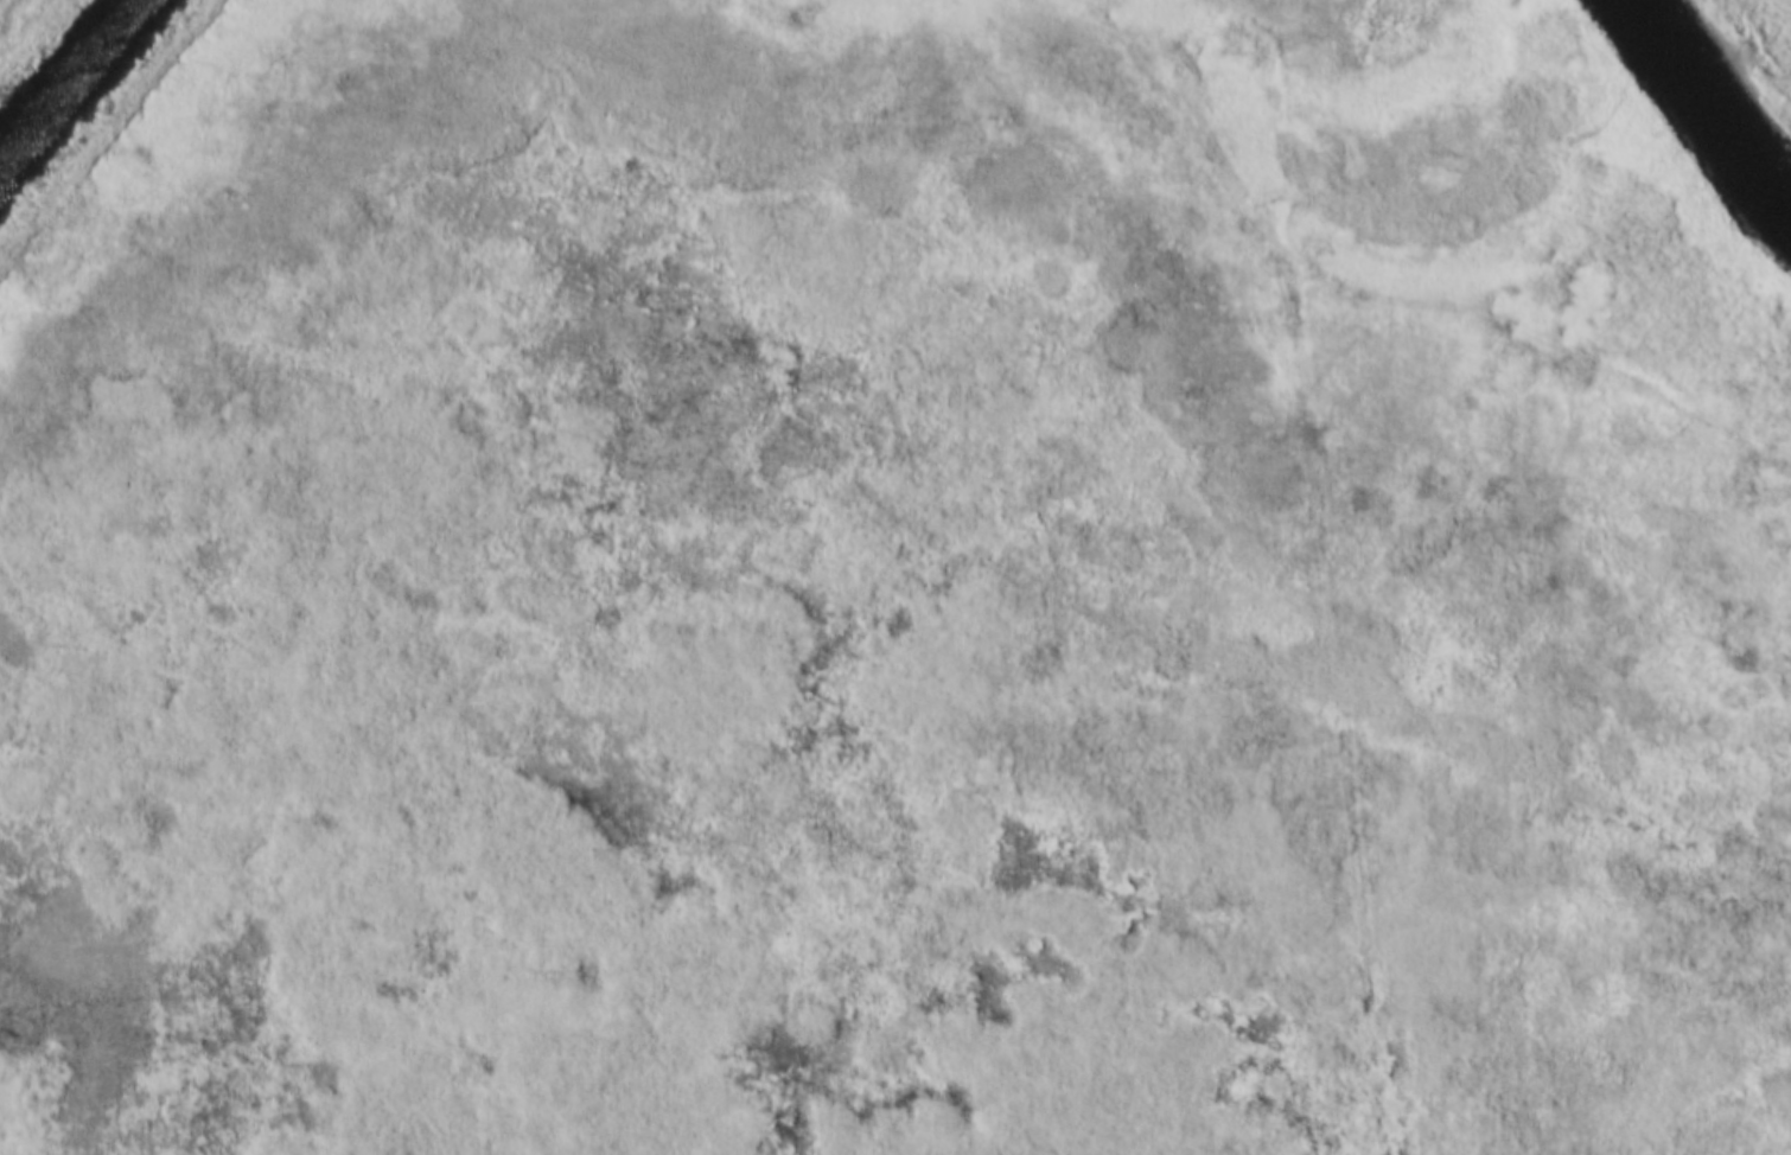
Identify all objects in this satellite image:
river: (1701, 102)

